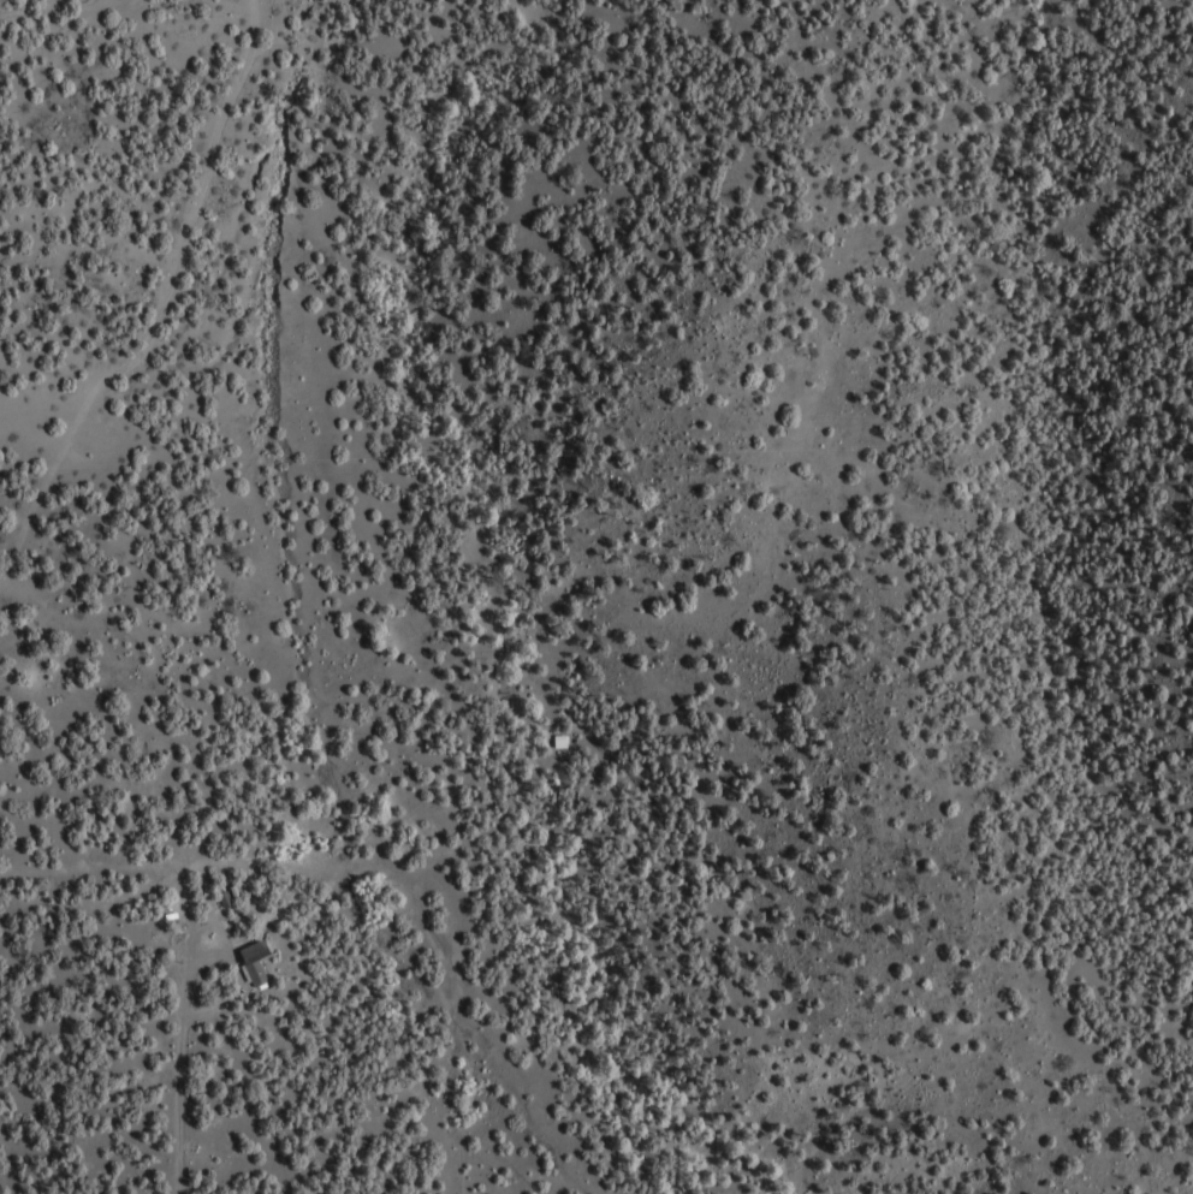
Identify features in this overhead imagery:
road: (202, 861)
road: (88, 866)
building: (262, 973)
road: (444, 1097)

